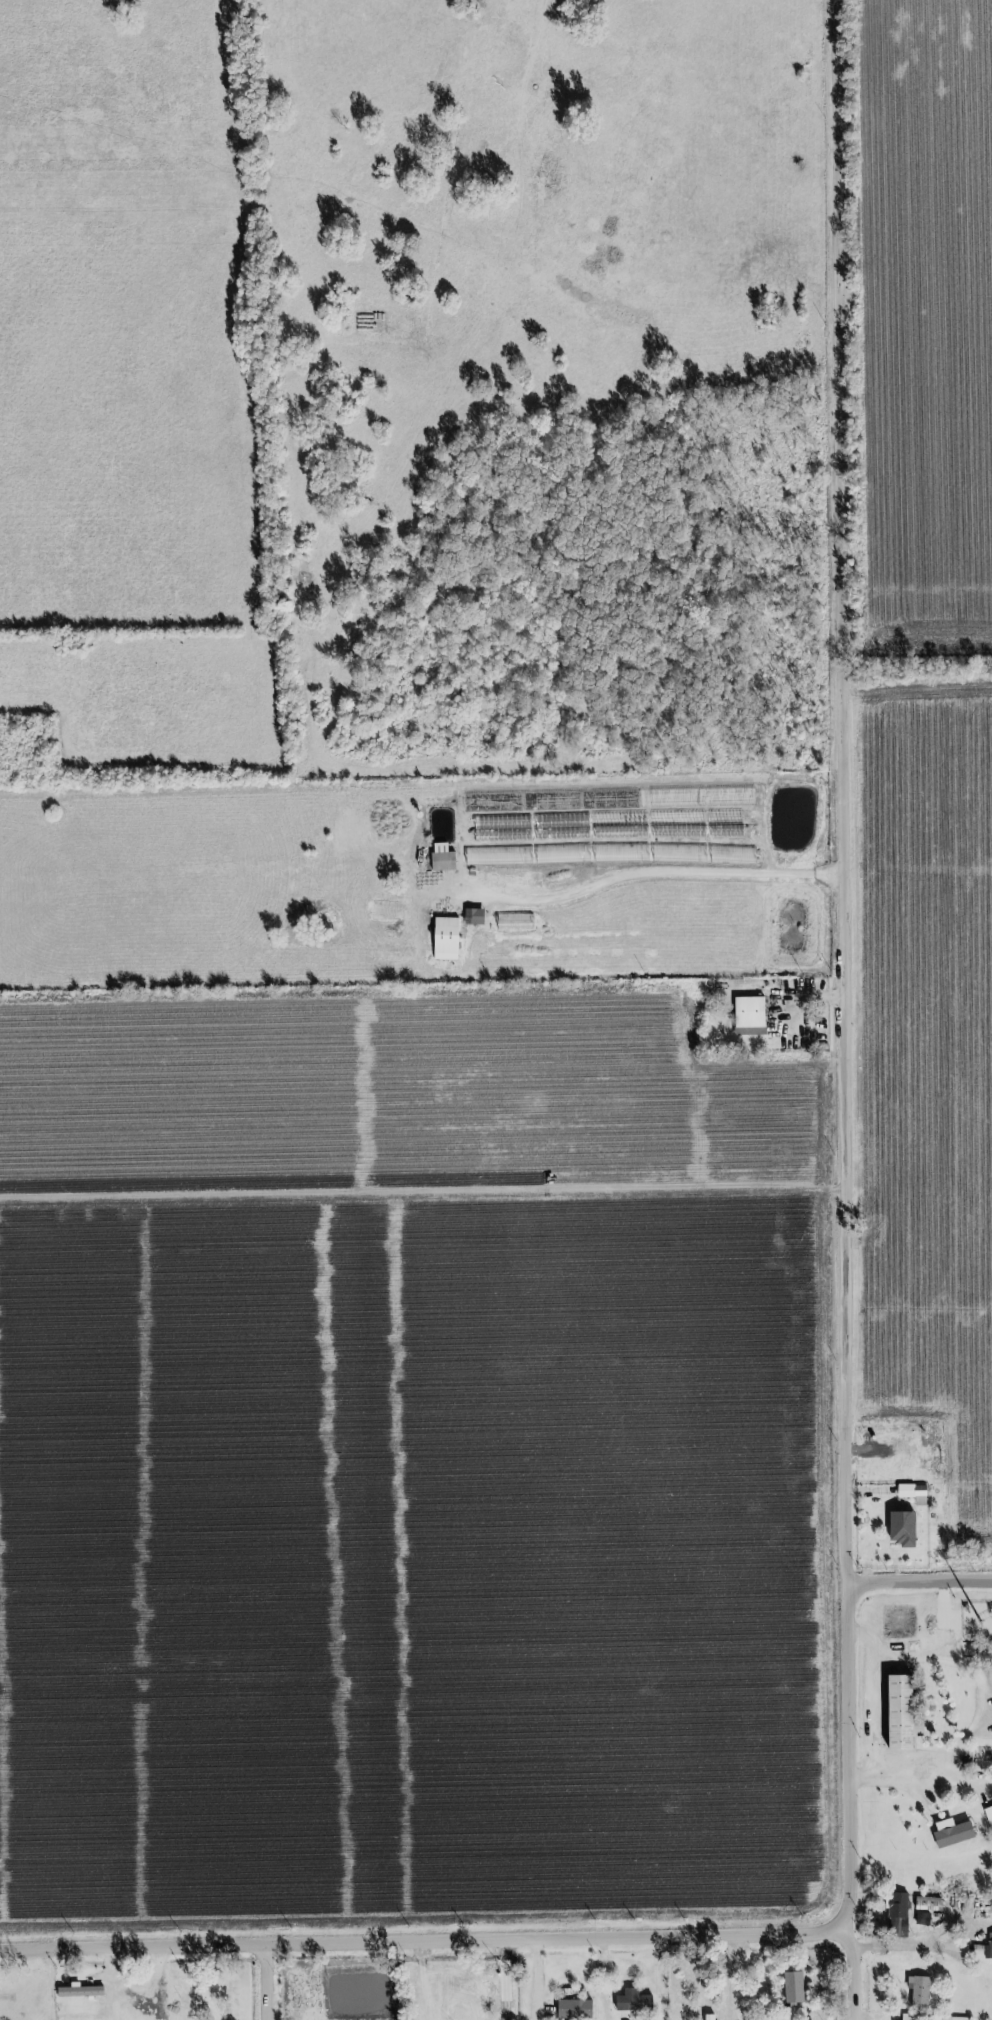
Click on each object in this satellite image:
building: (472, 856)
building: (440, 858)
road: (666, 873)
building: (473, 917)
building: (444, 939)
road: (852, 1010)
building: (748, 1016)
building: (886, 1461)
building: (913, 1493)
building: (902, 1526)
road: (922, 1582)
road: (871, 1702)
building: (898, 1714)
road: (978, 1717)
building: (988, 1815)
building: (952, 1831)
building: (924, 1909)
building: (897, 1915)
road: (921, 1936)
road: (428, 1938)
building: (988, 1948)
road: (731, 1976)
road: (509, 1978)
road: (536, 1978)
road: (274, 1980)
road: (114, 1983)
building: (792, 1988)
building: (78, 1991)
building: (919, 1992)
building: (632, 2001)
road: (437, 2005)
building: (572, 2009)
building: (709, 2016)

